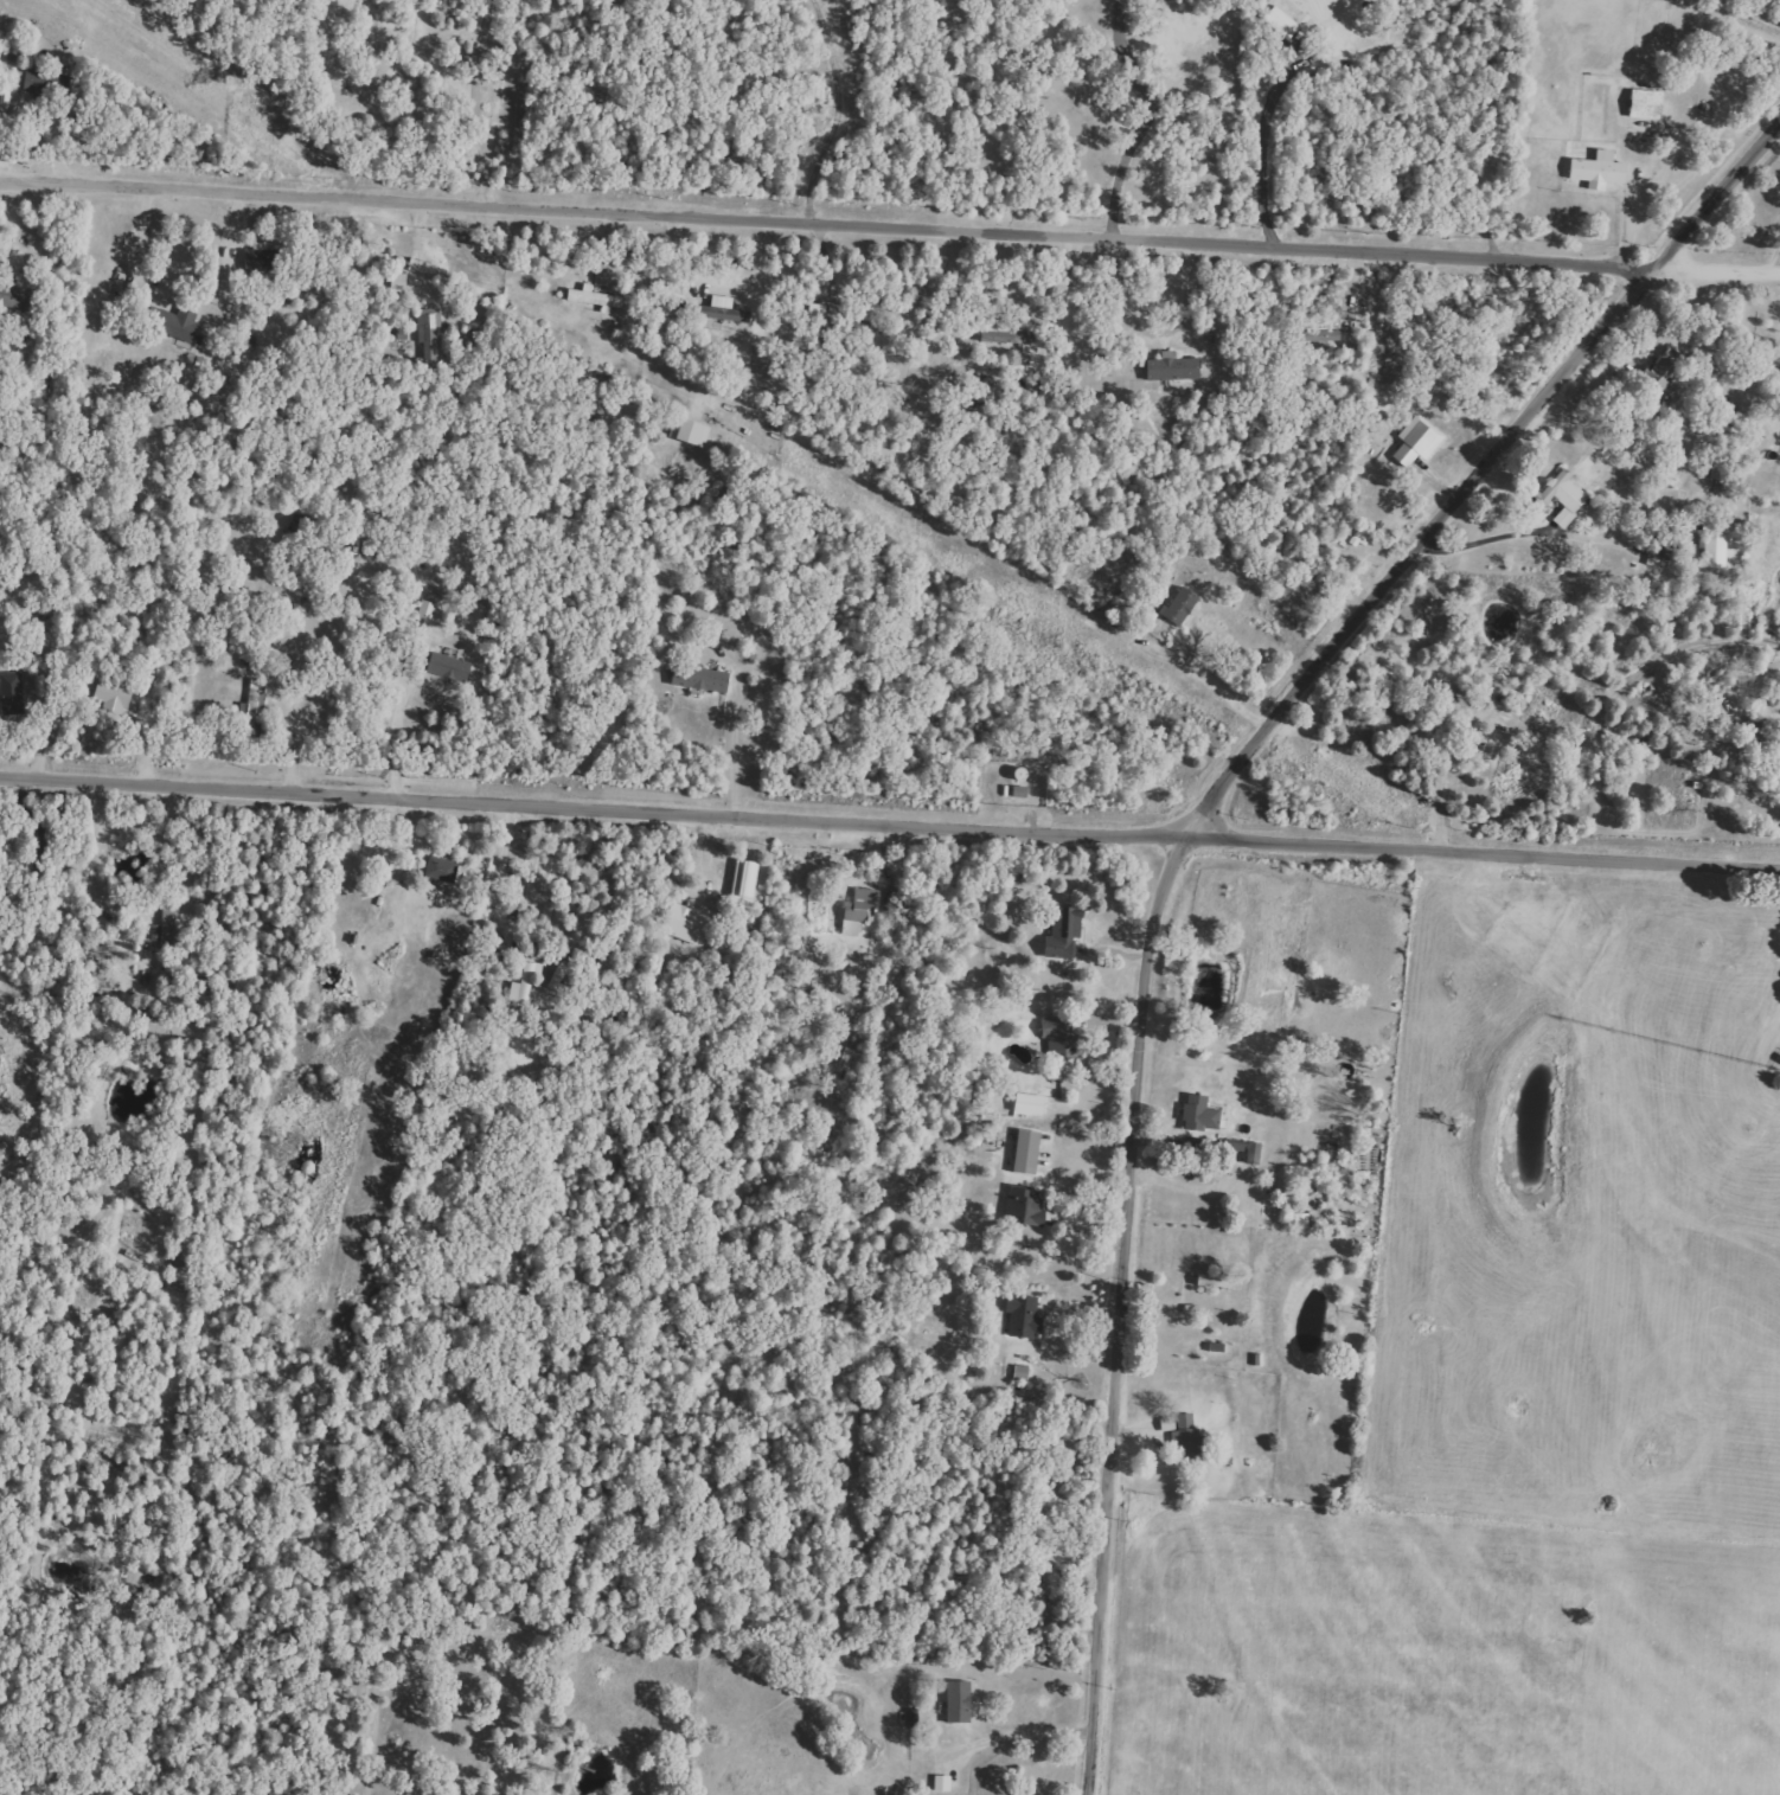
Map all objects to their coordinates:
building: (1275, 23)
building: (38, 82)
road: (476, 102)
building: (1640, 104)
road: (1262, 156)
building: (1594, 169)
road: (826, 232)
road: (140, 251)
building: (255, 257)
road: (1716, 271)
building: (393, 281)
building: (15, 294)
building: (588, 297)
building: (178, 323)
building: (863, 325)
building: (425, 332)
building: (1001, 333)
building: (1167, 367)
building: (1661, 371)
building: (685, 432)
building: (1417, 437)
road: (1485, 475)
building: (1558, 498)
road: (1485, 546)
building: (1660, 552)
building: (1176, 605)
building: (427, 609)
building: (449, 666)
building: (696, 677)
road: (1210, 684)
building: (11, 693)
building: (114, 695)
building: (250, 704)
road: (732, 751)
building: (1017, 791)
road: (889, 822)
road: (158, 851)
building: (442, 868)
building: (741, 878)
building: (856, 909)
building: (681, 923)
road: (809, 924)
building: (166, 925)
building: (1059, 932)
building: (553, 975)
building: (521, 985)
building: (1057, 1039)
building: (1196, 1114)
building: (1022, 1150)
building: (1020, 1206)
building: (1299, 1220)
road: (1131, 1309)
building: (1019, 1315)
building: (1018, 1372)
building: (1180, 1430)
building: (954, 1701)
road: (1039, 1735)
building: (939, 1783)

